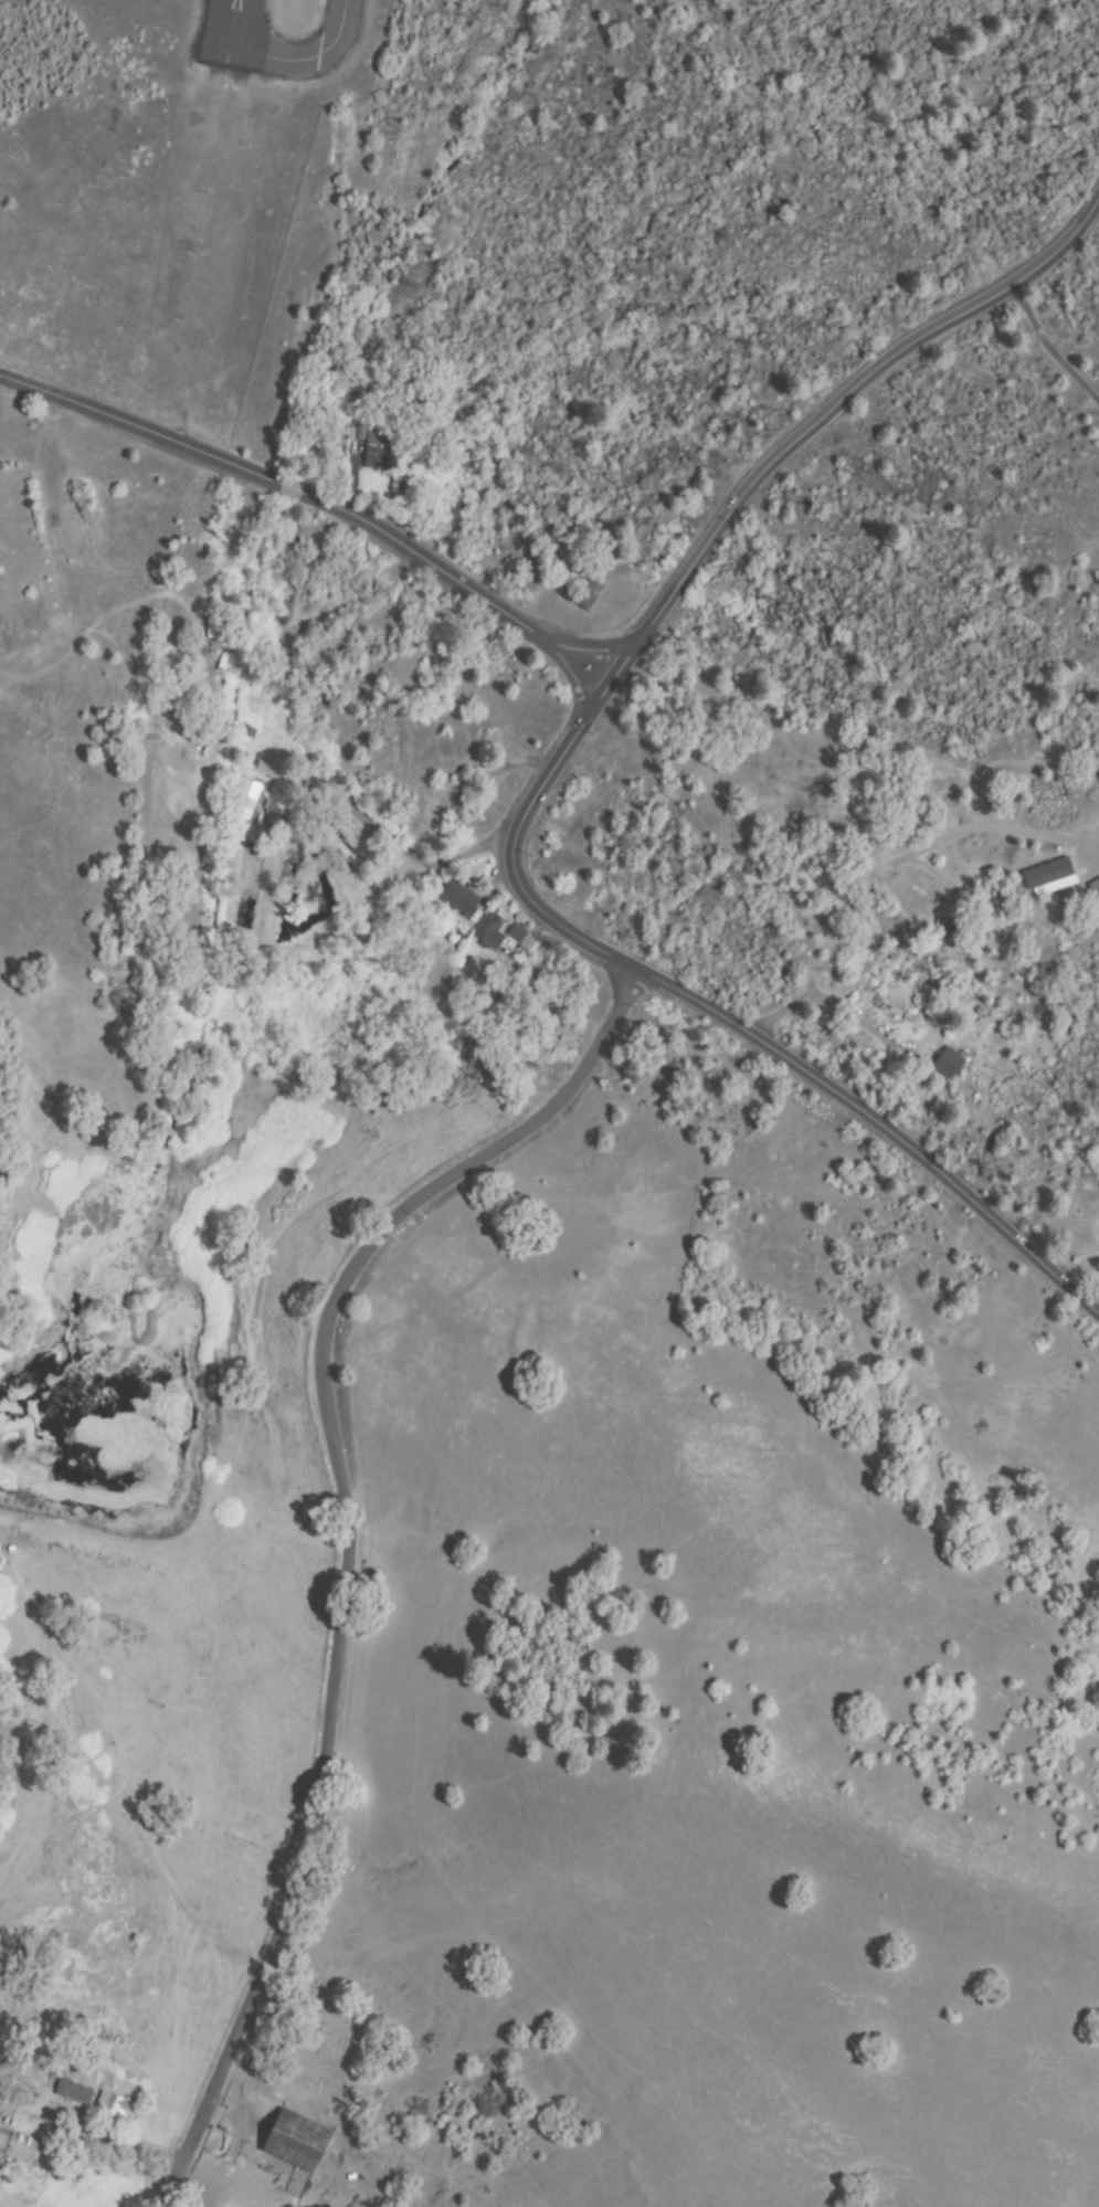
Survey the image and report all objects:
airport runway: (226, 30)
airport taxiway: (305, 60)
airport: (161, 184)
park: (1085, 252)
building: (376, 447)
road: (318, 508)
park: (12, 575)
building: (585, 593)
building: (278, 782)
building: (246, 800)
building: (433, 805)
road: (1068, 806)
building: (1047, 874)
road: (883, 876)
road: (1014, 890)
building: (1093, 890)
building: (458, 899)
building: (489, 929)
building: (959, 929)
building: (517, 933)
building: (463, 937)
building: (949, 1063)
road: (554, 1107)
road: (879, 1127)
building: (74, 2092)
building: (113, 2104)
building: (303, 2129)
building: (19, 2145)
building: (289, 2154)

